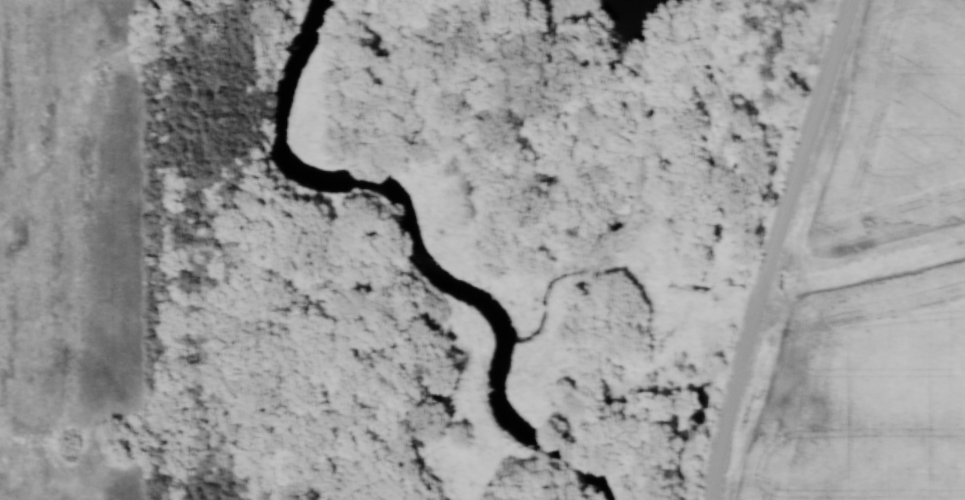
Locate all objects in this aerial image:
park: (467, 239)
road: (778, 248)

